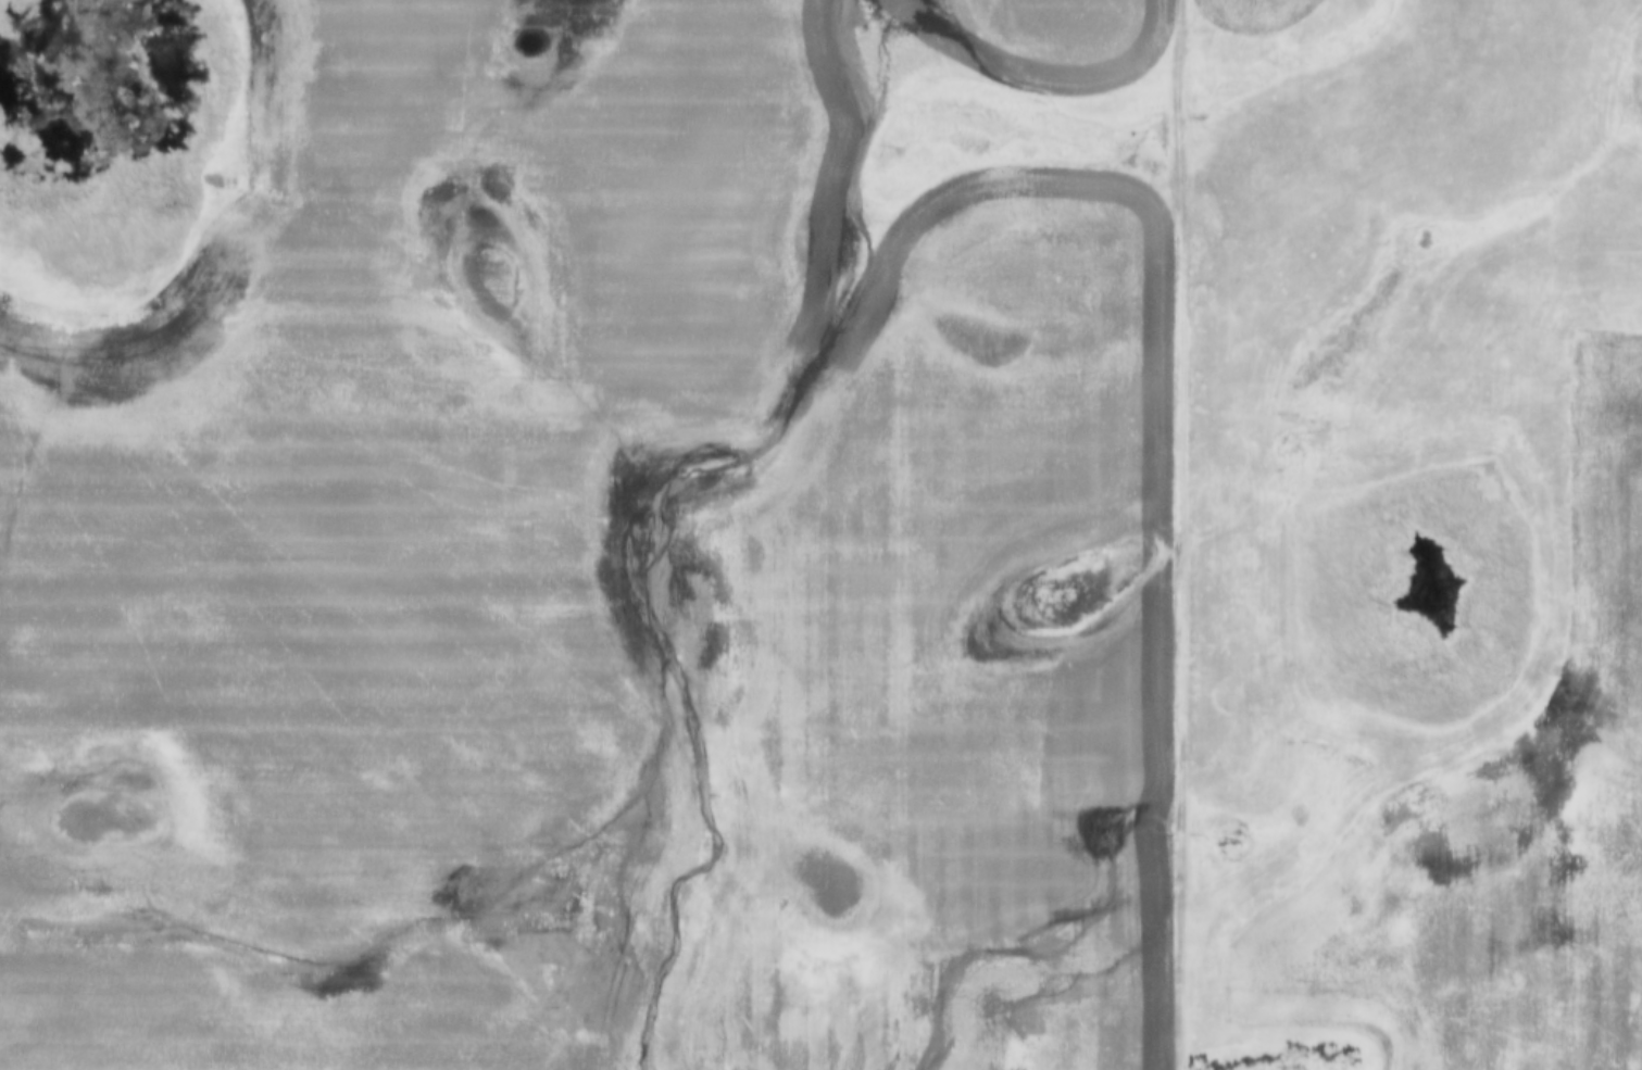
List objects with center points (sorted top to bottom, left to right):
road: (1179, 896)

